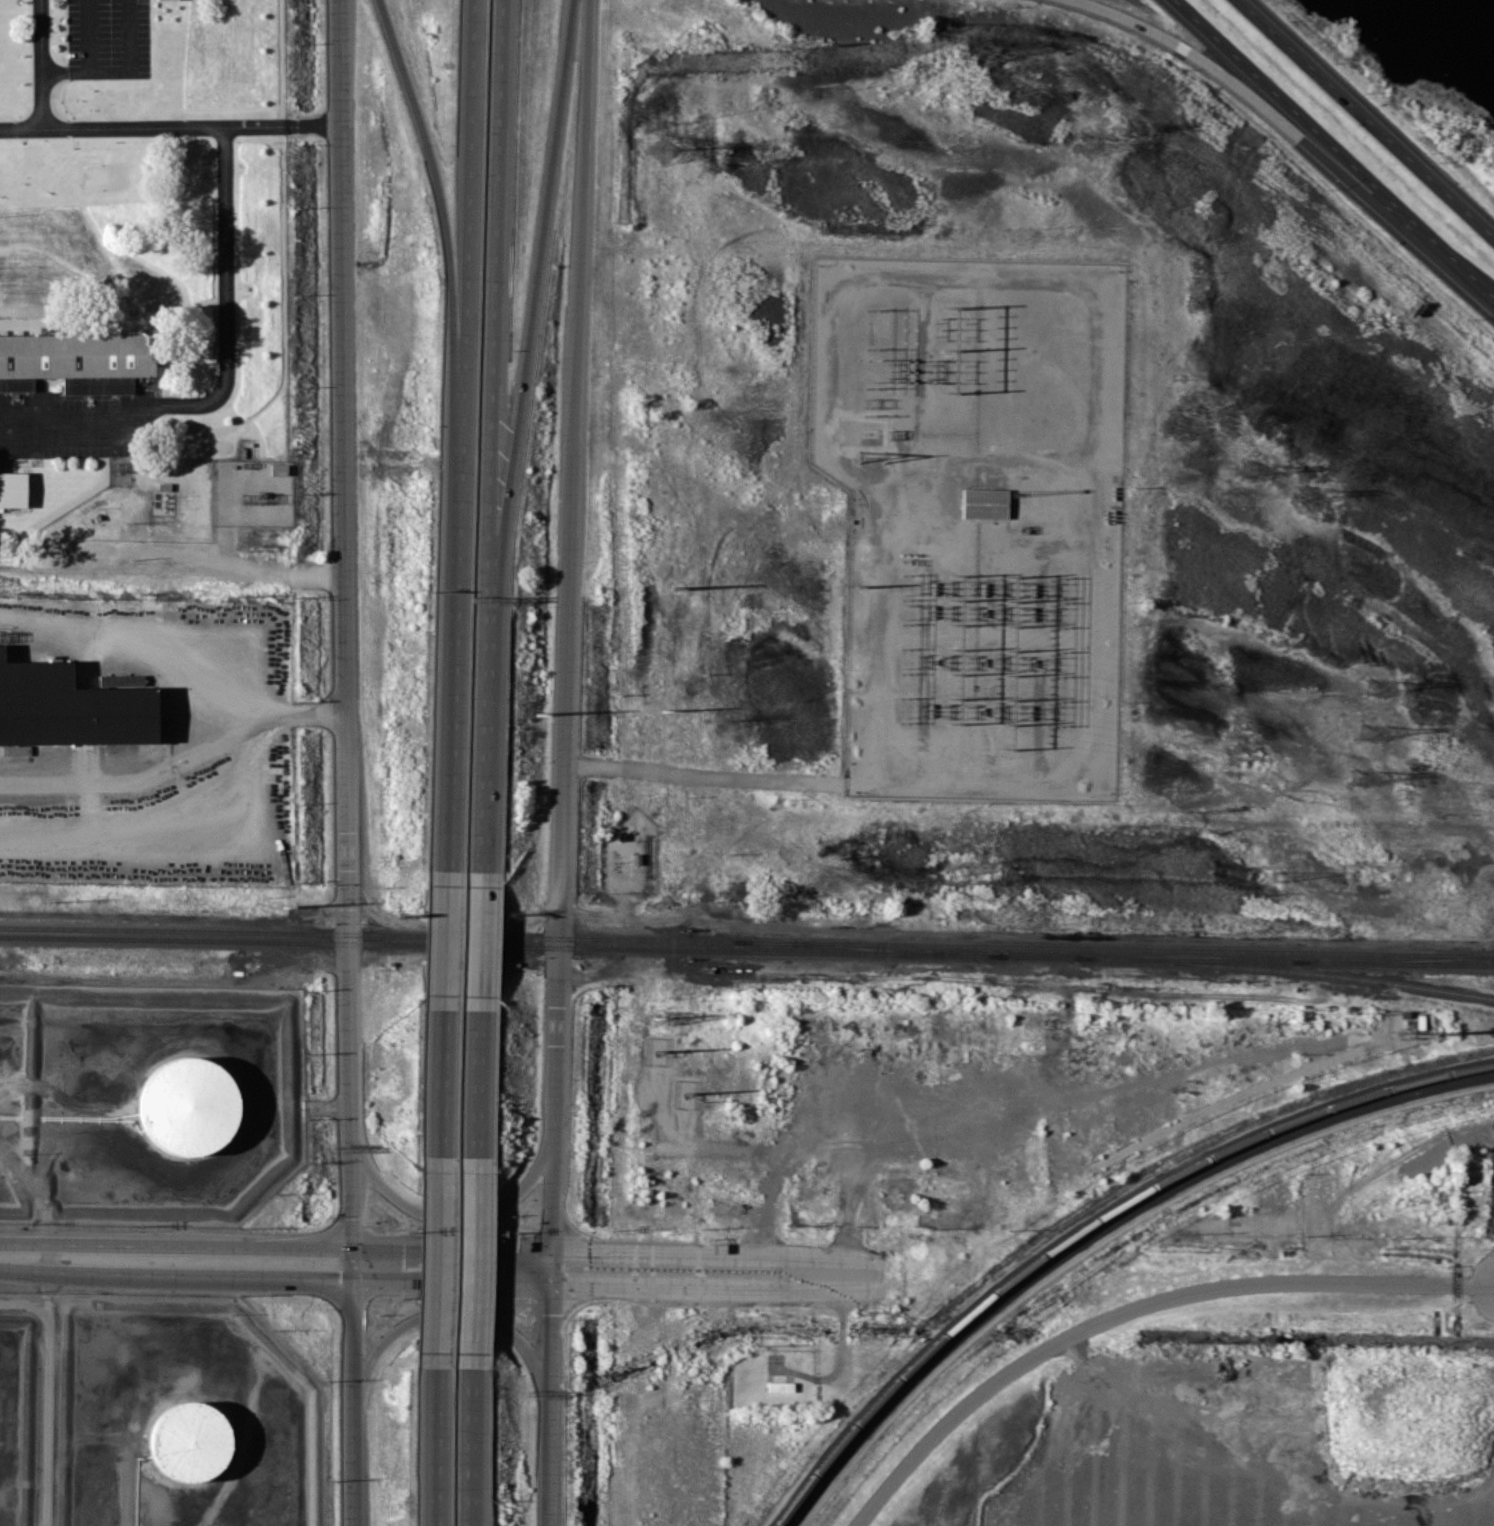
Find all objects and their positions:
building: (166, 0)
road: (88, 36)
parking lot: (109, 39)
road: (122, 72)
road: (1233, 81)
road: (1280, 95)
road: (1364, 120)
road: (21, 128)
road: (128, 128)
power tower: (1121, 129)
power tower: (1086, 146)
power tower: (664, 150)
road: (1436, 248)
road: (448, 275)
road: (466, 280)
road: (492, 335)
road: (532, 335)
building: (78, 362)
road: (228, 374)
building: (279, 469)
power tower: (1252, 471)
building: (13, 489)
power tower: (1307, 495)
building: (984, 503)
power substation: (975, 519)
road: (279, 571)
road: (150, 634)
road: (346, 638)
road: (568, 639)
power tower: (1376, 686)
building: (70, 707)
road: (451, 716)
power tower: (719, 721)
power tower: (1369, 731)
building: (17, 750)
road: (177, 763)
road: (484, 772)
road: (704, 773)
power tower: (1361, 777)
power tower: (962, 870)
power tower: (1278, 876)
road: (444, 942)
railway: (746, 942)
road: (479, 943)
railway: (870, 949)
railway: (746, 952)
railway: (1394, 960)
railway: (1285, 970)
road: (440, 1084)
road: (475, 1084)
building: (190, 1106)
storage tank: (190, 1106)
road: (449, 1216)
traffic signals: (350, 1217)
railway: (1089, 1223)
railway: (1097, 1230)
road: (175, 1244)
traffic signals: (403, 1249)
road: (451, 1249)
road: (569, 1252)
road: (713, 1254)
road: (438, 1261)
road: (472, 1261)
road: (175, 1272)
traffic signals: (340, 1275)
road: (451, 1277)
traffic signals: (503, 1278)
road: (570, 1279)
traffic signals: (601, 1280)
road: (714, 1282)
road: (24, 1304)
road: (1134, 1306)
traffic signals: (551, 1314)
road: (451, 1320)
road: (550, 1343)
road: (841, 1344)
building: (779, 1386)
road: (48, 1397)
road: (352, 1401)
building: (190, 1442)
storage tank: (190, 1442)
road: (439, 1446)
road: (469, 1446)
road: (550, 1453)
road: (550, 1512)

